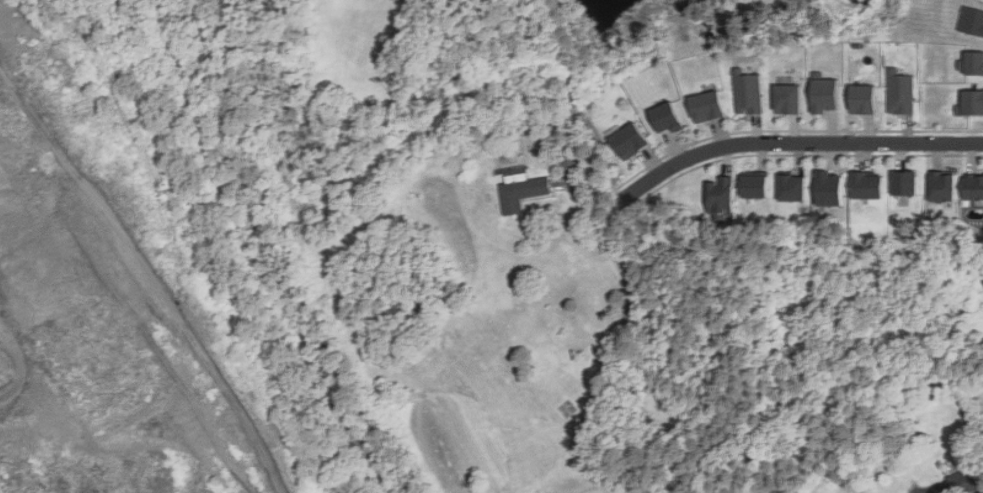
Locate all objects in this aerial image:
building: (971, 21)
building: (971, 63)
building: (748, 92)
building: (900, 92)
building: (825, 93)
road: (572, 96)
building: (788, 98)
building: (863, 99)
building: (971, 103)
building: (708, 106)
building: (667, 117)
building: (517, 130)
building: (630, 140)
road: (797, 142)
building: (905, 182)
building: (755, 184)
building: (942, 184)
building: (867, 185)
building: (792, 186)
building: (973, 186)
building: (830, 189)
building: (521, 192)
building: (719, 194)
road: (617, 341)
building: (966, 481)

